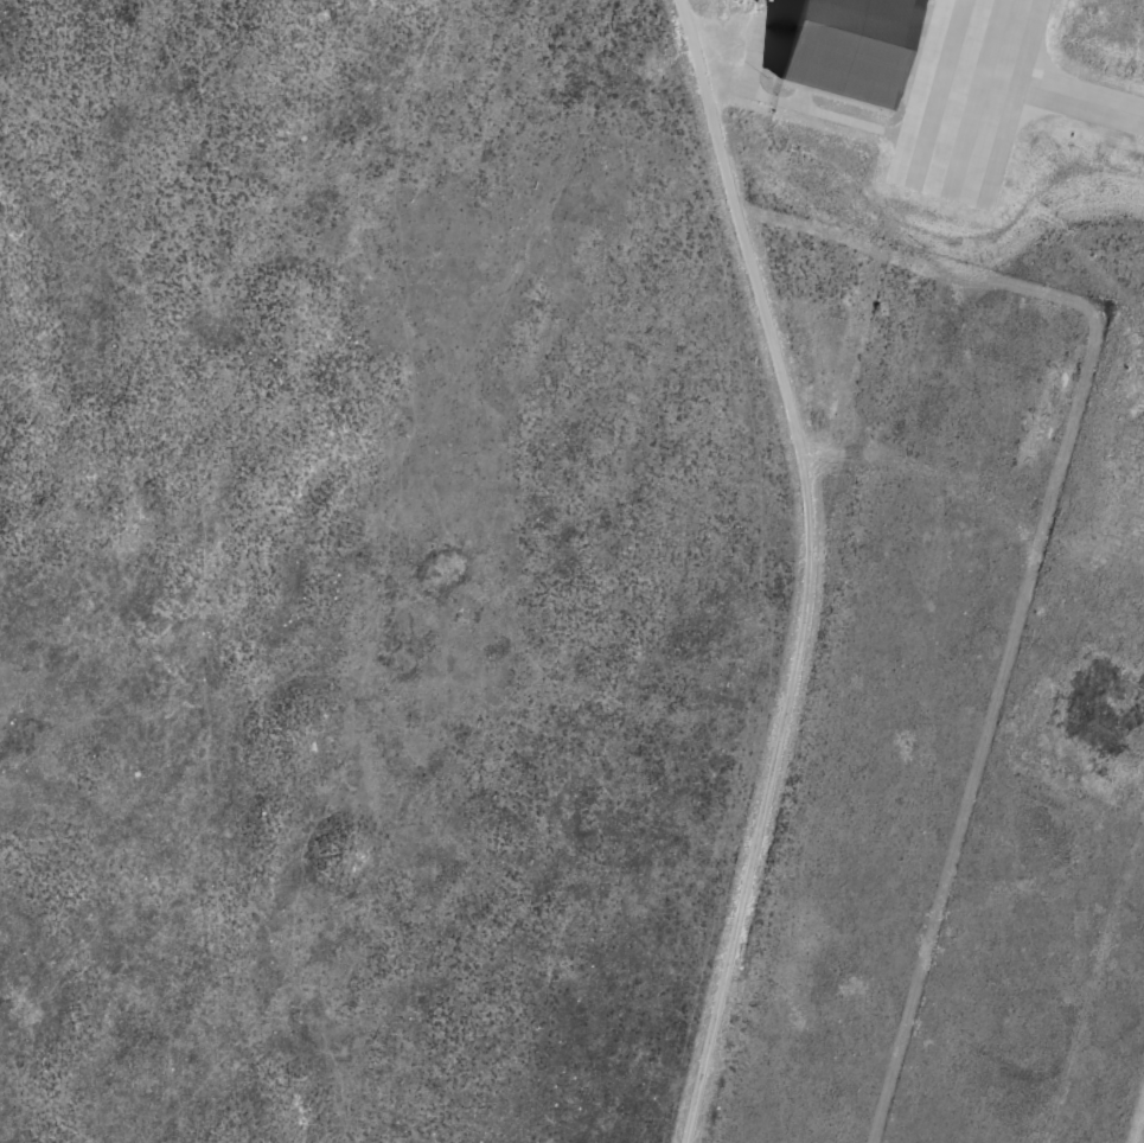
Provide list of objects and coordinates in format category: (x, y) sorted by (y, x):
building: (845, 49)
airport taxiway: (1031, 89)
airport apron: (966, 98)

